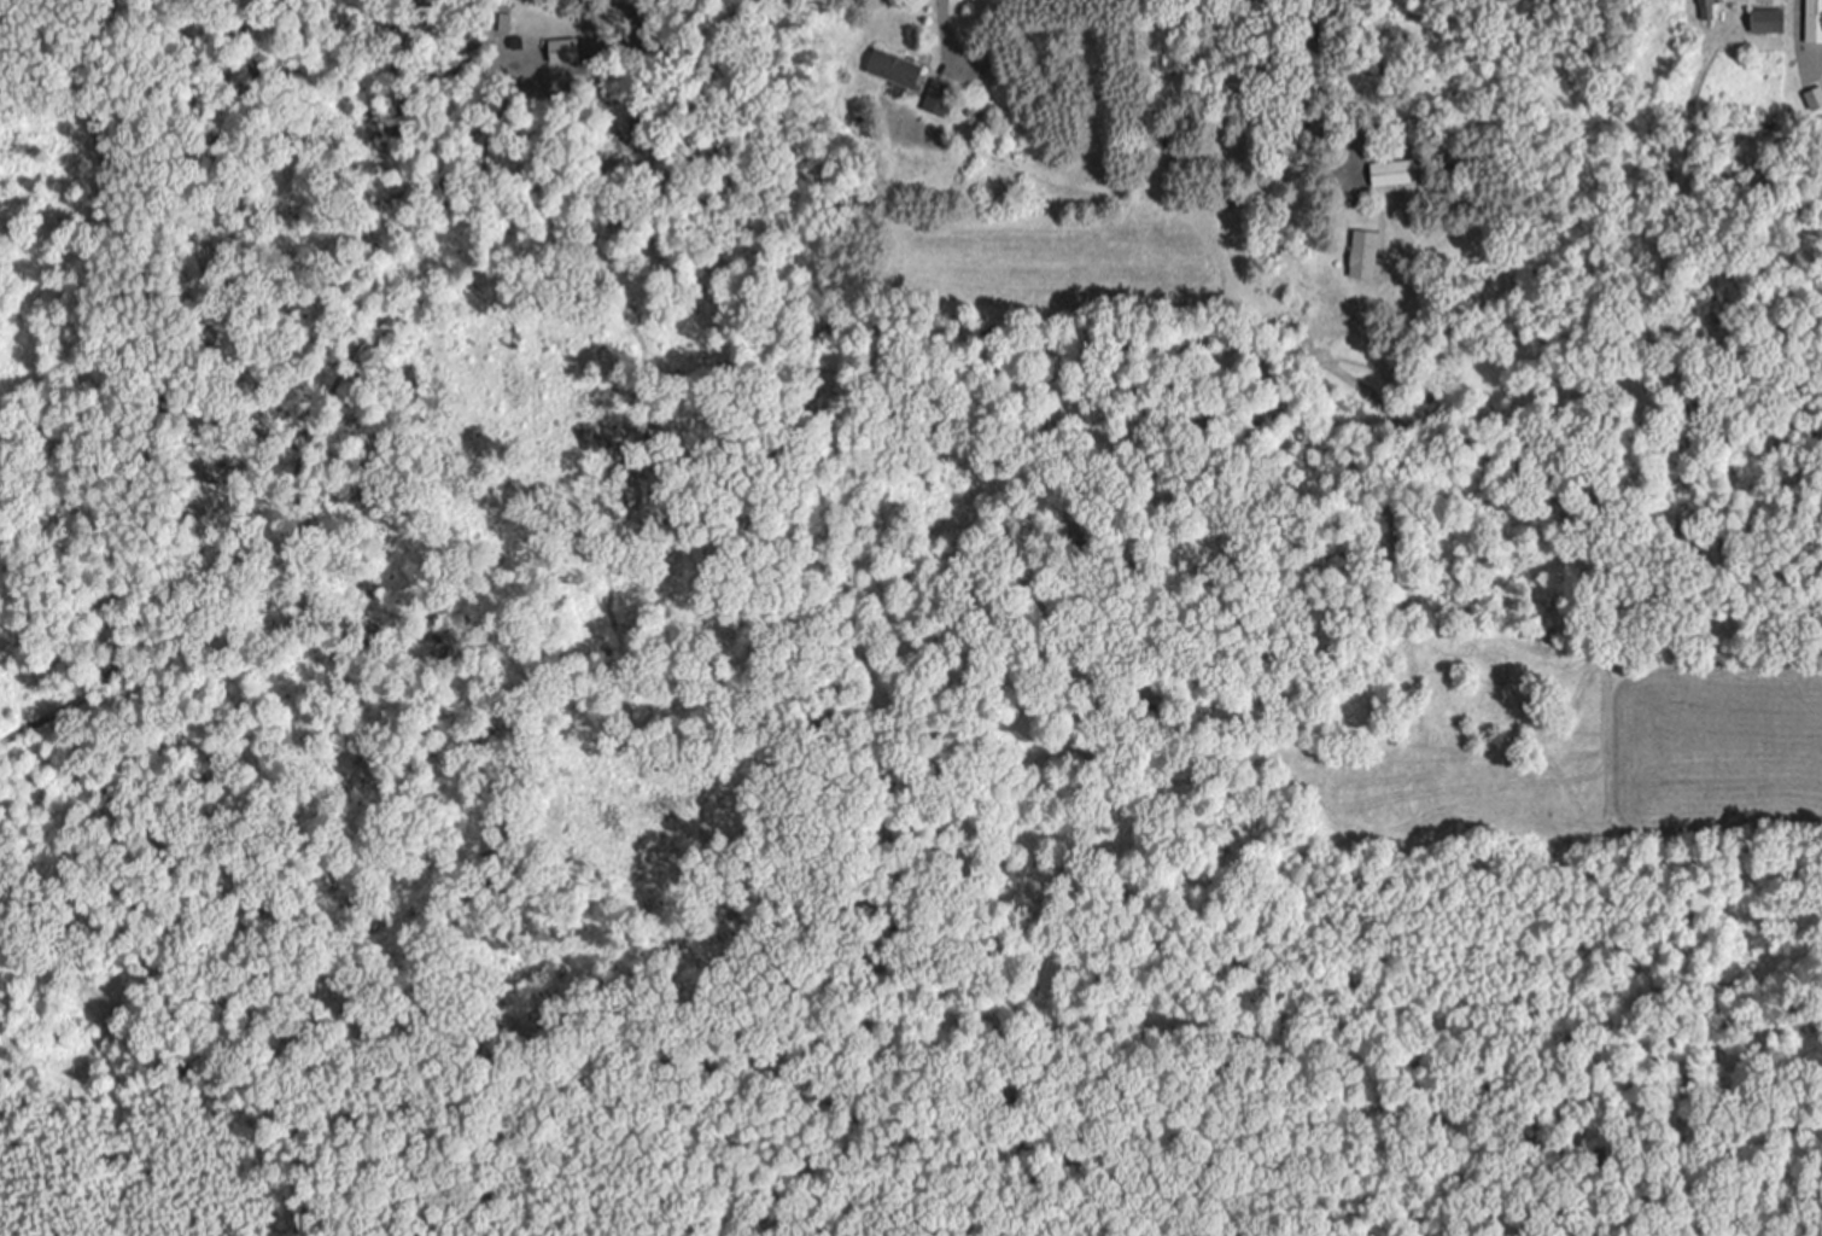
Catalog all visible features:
building: (1709, 10)
building: (1771, 21)
building: (1815, 22)
road: (941, 35)
road: (1800, 41)
building: (903, 71)
building: (941, 98)
building: (1815, 100)
building: (1400, 175)
building: (1367, 249)

